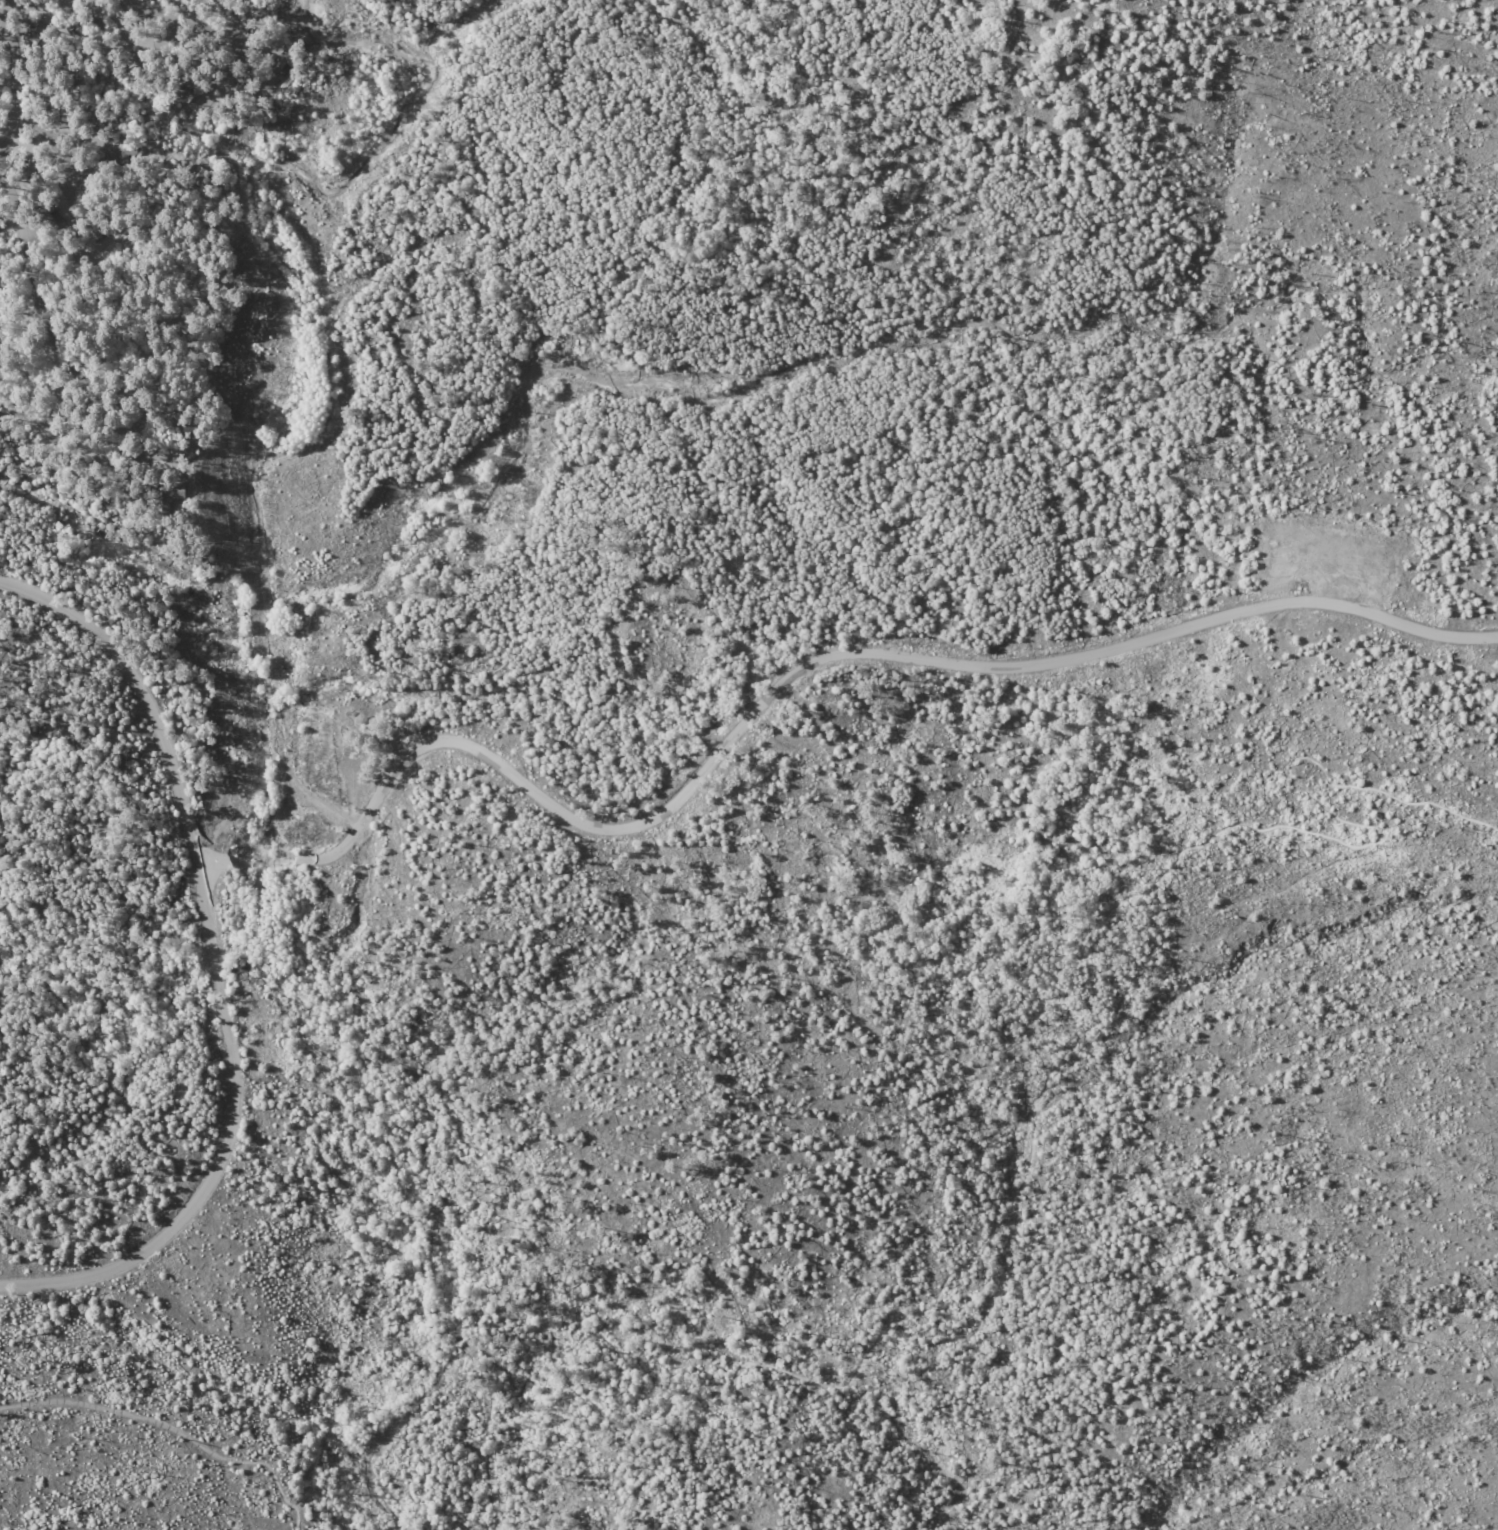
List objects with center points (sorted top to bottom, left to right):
road: (83, 0)
road: (7, 15)
road: (1, 17)
building: (79, 23)
building: (38, 27)
road: (184, 27)
road: (162, 40)
road: (171, 46)
building: (136, 65)
building: (282, 65)
building: (243, 83)
building: (184, 87)
building: (68, 126)
road: (32, 131)
road: (8, 134)
road: (57, 137)
road: (81, 139)
building: (125, 149)
road: (135, 153)
building: (30, 164)
building: (198, 172)
road: (120, 176)
building: (48, 212)
building: (102, 230)
building: (58, 246)
road: (71, 382)
building: (174, 492)
road: (817, 660)
road: (140, 688)
park: (749, 765)
road: (214, 860)
road: (1043, 1077)
road: (225, 1143)
road: (172, 1426)
road: (410, 1525)

